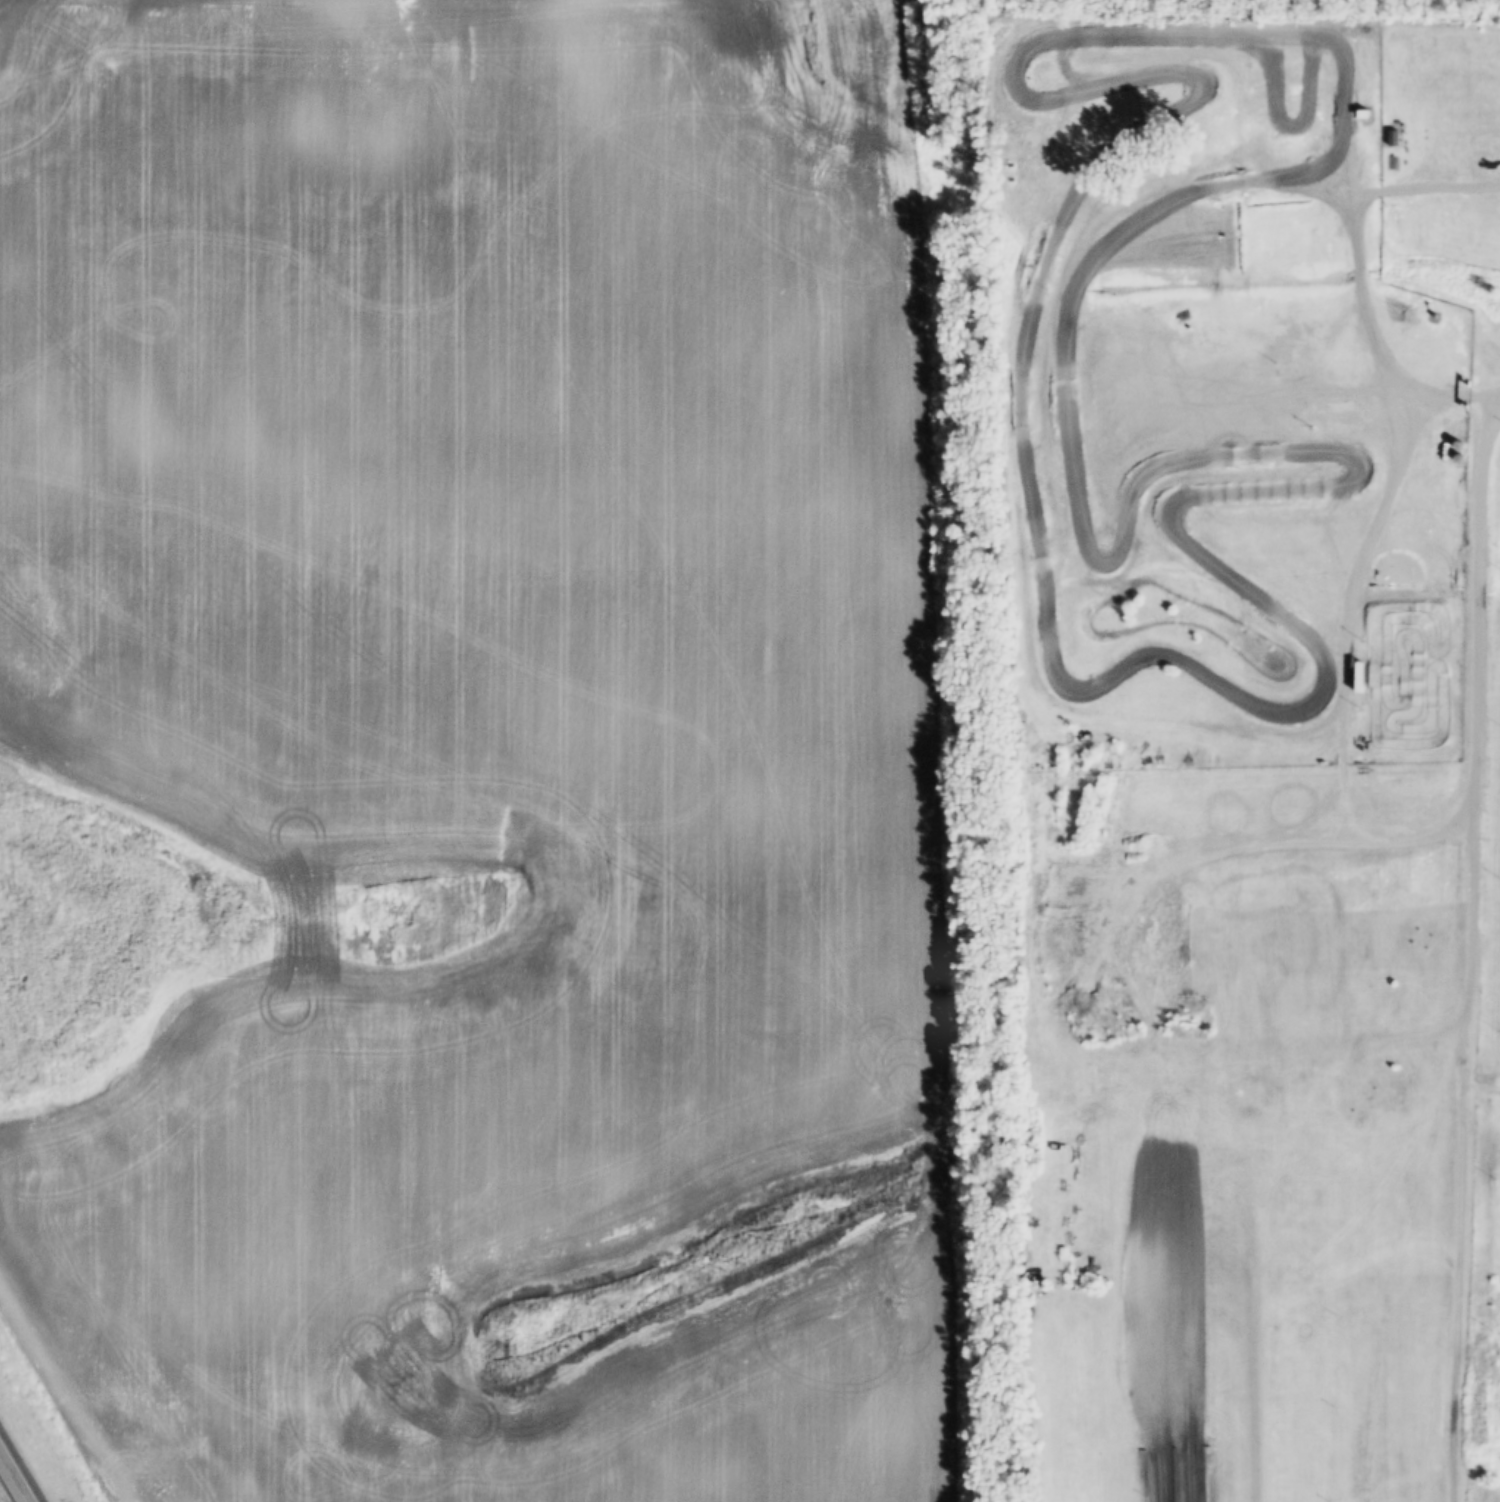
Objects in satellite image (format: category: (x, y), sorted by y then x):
raceway: (1007, 72)
building: (1212, 156)
road: (1330, 341)
road: (1455, 397)
road: (1478, 744)
road: (1483, 1083)
road: (1461, 1292)
road: (14, 1478)

